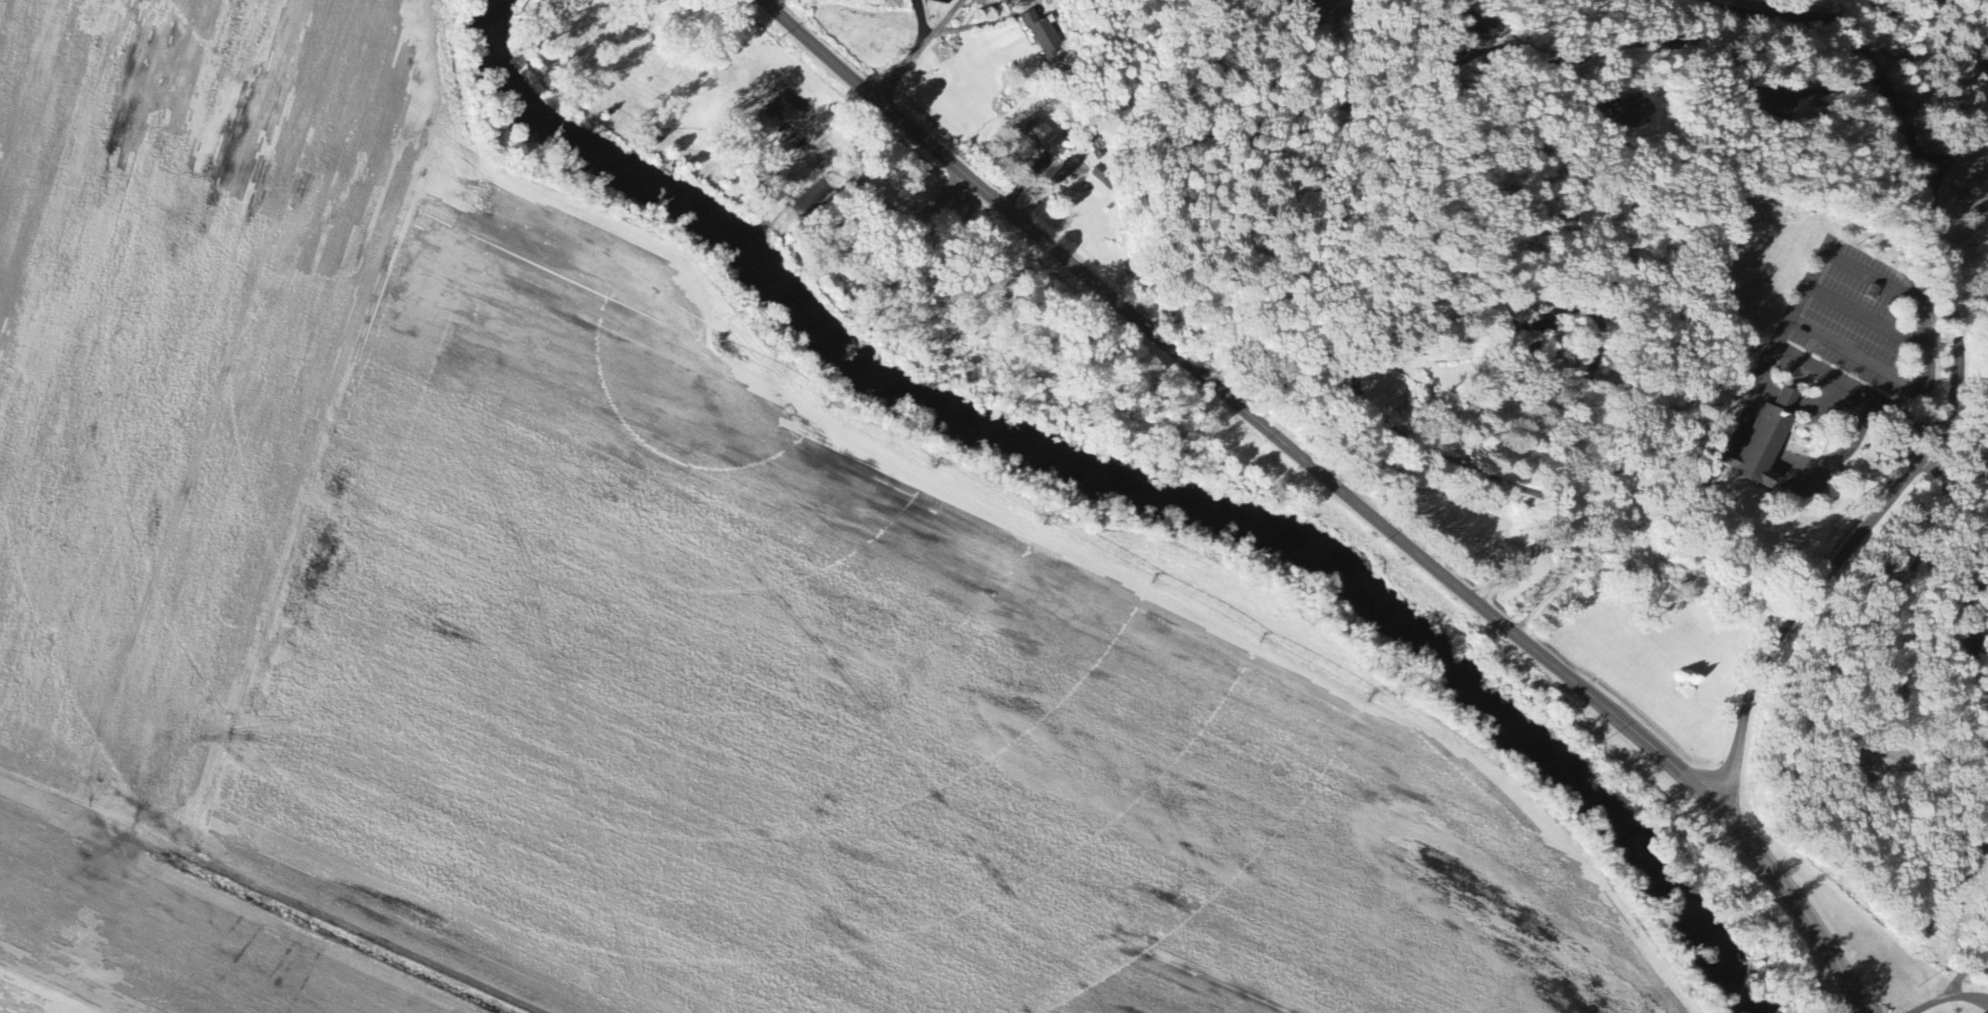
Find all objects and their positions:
road: (921, 20)
road: (1850, 36)
building: (1039, 37)
road: (919, 50)
road: (1557, 62)
road: (614, 109)
building: (1624, 114)
parking lot: (795, 116)
road: (805, 126)
road: (669, 128)
road: (663, 132)
road: (768, 132)
building: (1041, 136)
river: (581, 148)
road: (700, 151)
road: (1957, 151)
road: (749, 162)
road: (764, 164)
road: (668, 165)
road: (810, 179)
building: (1097, 183)
parking lot: (804, 187)
road: (773, 215)
road: (897, 215)
road: (818, 239)
road: (814, 245)
road: (1808, 285)
road: (1574, 335)
road: (1851, 440)
building: (1754, 444)
building: (1771, 462)
road: (1469, 480)
road: (1336, 489)
road: (1887, 502)
river: (1305, 547)
road: (1527, 555)
road: (1922, 604)
building: (1844, 764)
road: (361, 934)
road: (1949, 998)

